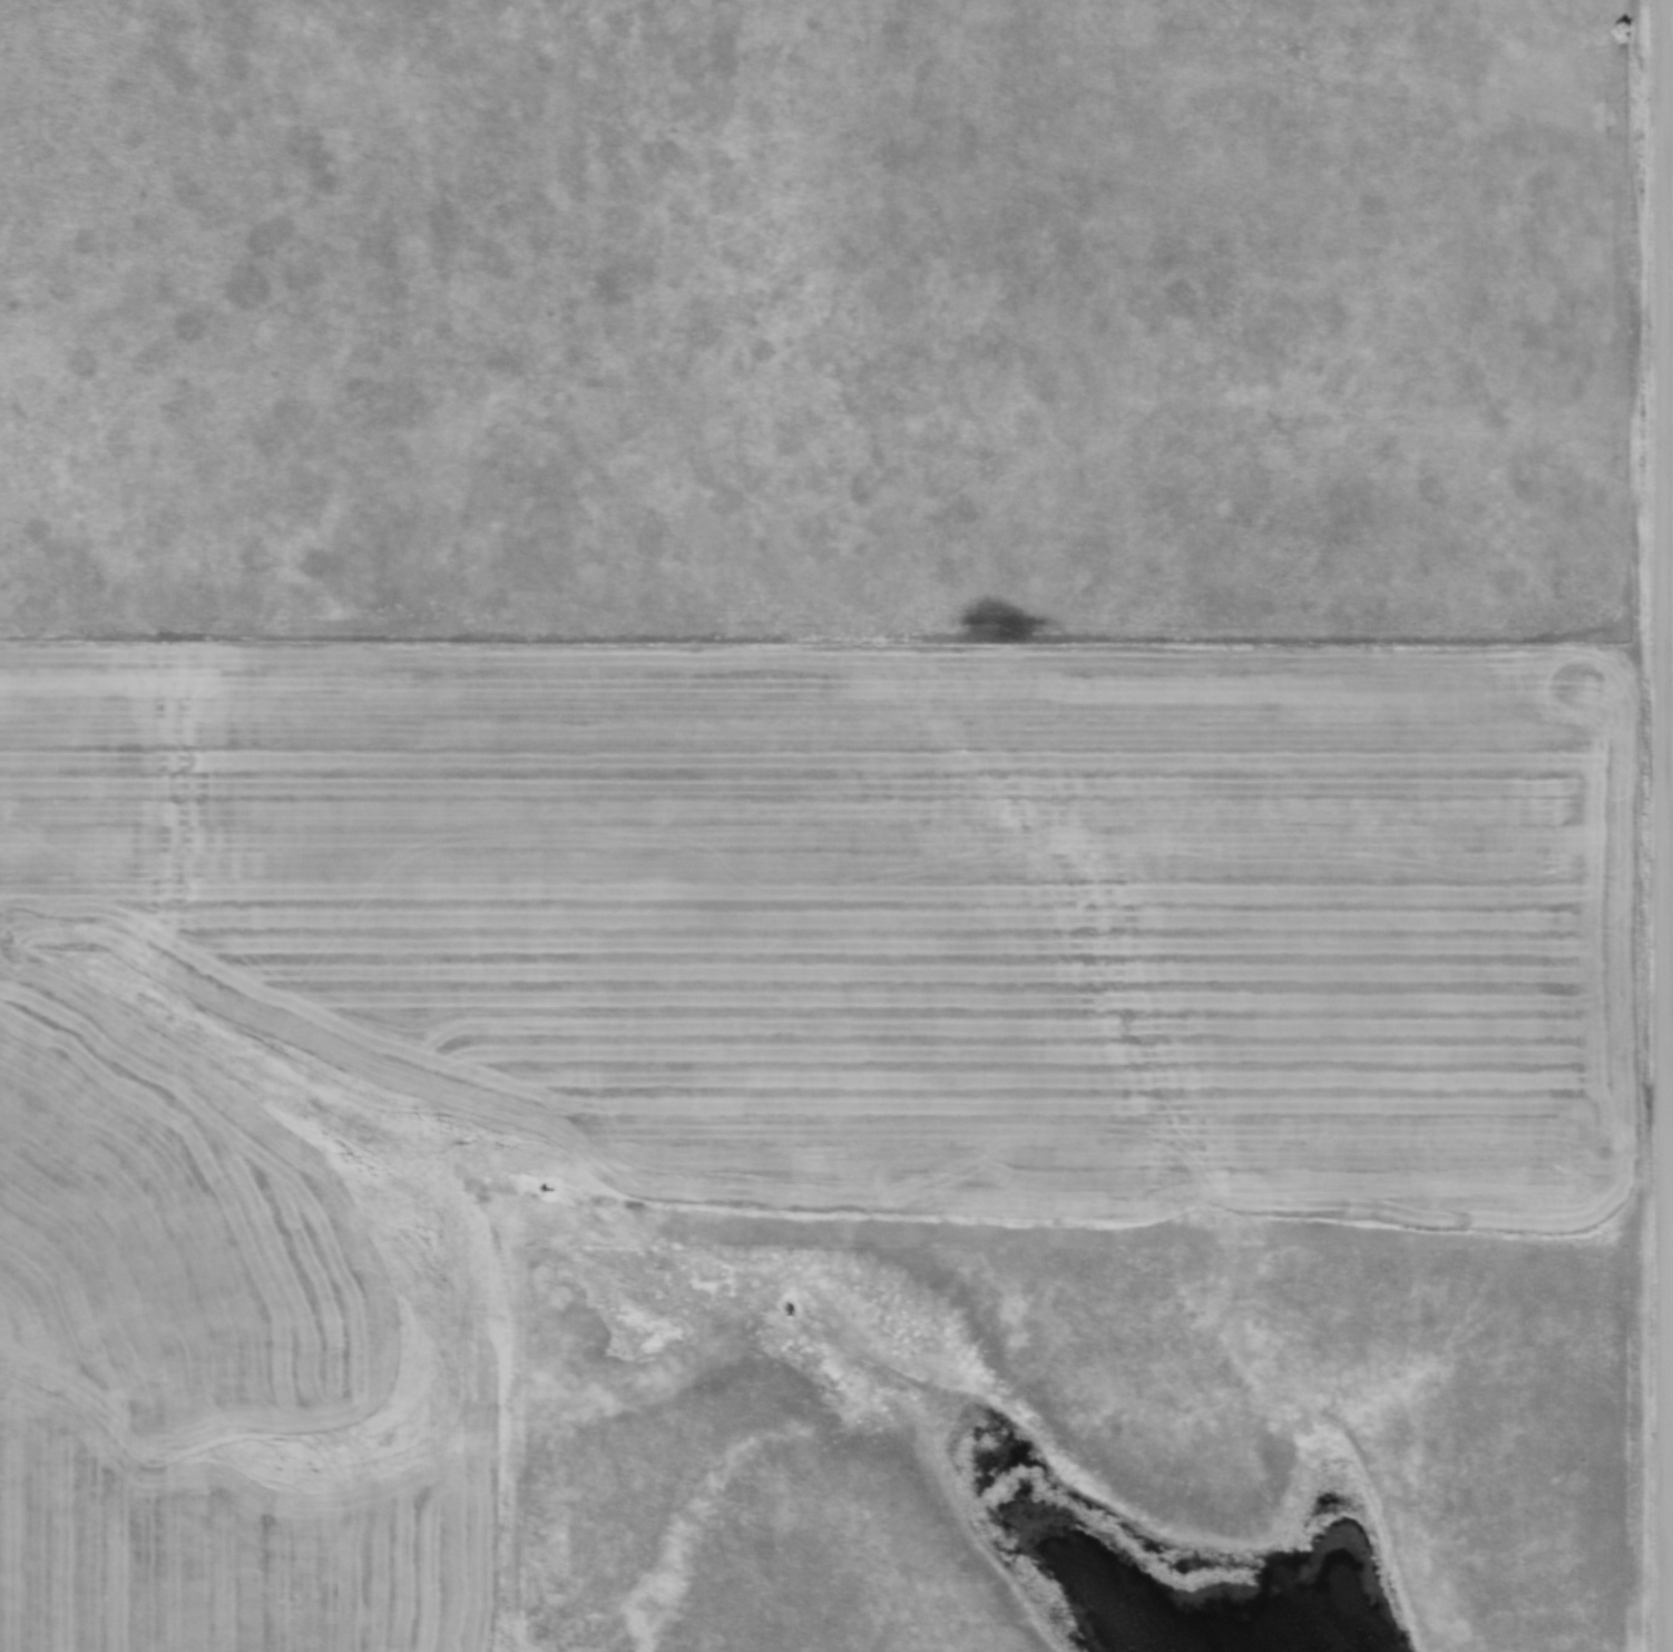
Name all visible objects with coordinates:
road: (1659, 825)

